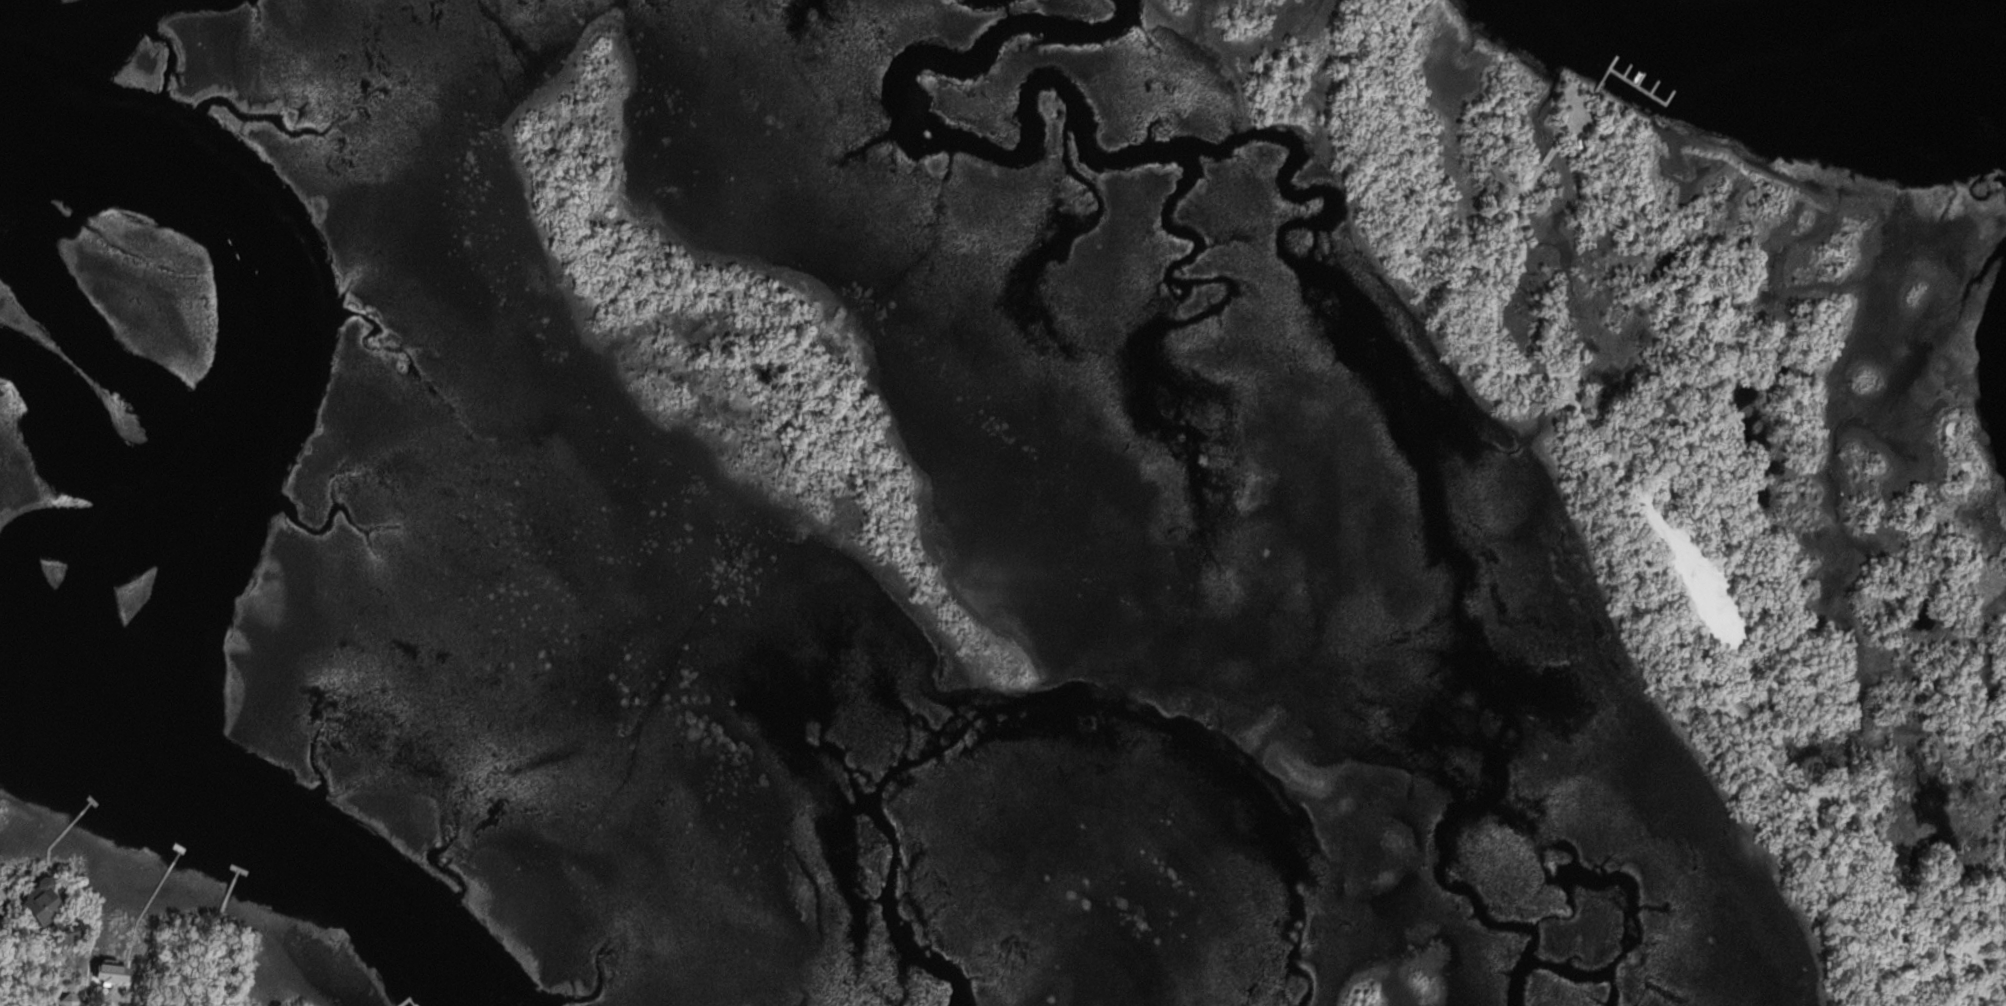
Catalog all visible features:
road: (1579, 115)
road: (1554, 150)
building: (1499, 171)
road: (1670, 617)
building: (45, 900)
building: (74, 933)
building: (116, 972)
building: (73, 997)

